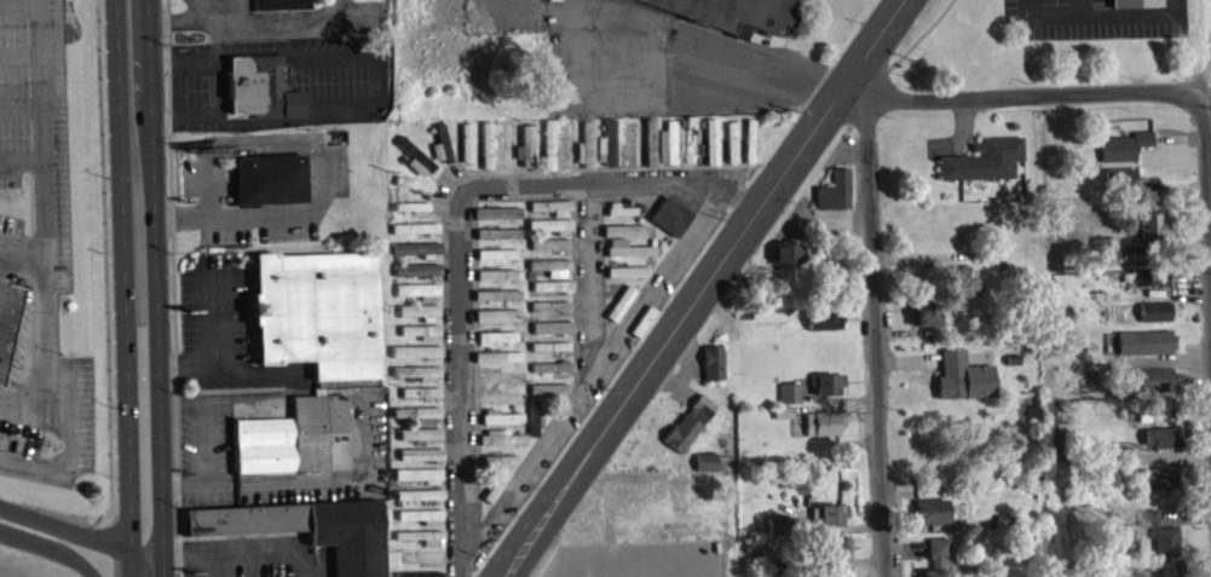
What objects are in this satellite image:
road: (38, 1)
building: (1135, 1)
road: (19, 4)
building: (282, 4)
road: (1082, 6)
building: (734, 11)
road: (1101, 12)
parking lot: (1092, 18)
road: (180, 19)
road: (907, 48)
road: (19, 51)
road: (765, 76)
building: (255, 82)
road: (220, 85)
road: (1011, 94)
road: (21, 109)
road: (959, 134)
road: (1178, 135)
building: (691, 138)
building: (750, 138)
building: (609, 139)
building: (650, 139)
building: (670, 139)
building: (711, 139)
building: (732, 139)
building: (1123, 144)
parking lot: (34, 146)
building: (567, 146)
building: (465, 148)
building: (485, 150)
building: (506, 150)
building: (547, 150)
building: (584, 151)
building: (525, 152)
building: (440, 156)
road: (22, 157)
building: (984, 157)
building: (415, 163)
building: (270, 178)
building: (1124, 178)
road: (1180, 184)
road: (1207, 185)
building: (835, 187)
building: (622, 208)
road: (45, 209)
building: (550, 213)
building: (670, 214)
building: (496, 218)
building: (1152, 225)
building: (624, 227)
building: (548, 231)
road: (460, 232)
building: (497, 238)
road: (1163, 247)
road: (23, 248)
building: (630, 248)
building: (1105, 248)
building: (548, 249)
building: (785, 250)
road: (929, 253)
building: (416, 254)
building: (627, 255)
building: (496, 259)
road: (126, 260)
road: (173, 267)
building: (628, 269)
building: (549, 272)
building: (1154, 273)
building: (416, 276)
road: (1189, 276)
building: (627, 277)
building: (490, 279)
building: (961, 281)
road: (588, 282)
building: (1153, 282)
road: (1175, 287)
road: (155, 288)
road: (700, 288)
building: (552, 292)
building: (421, 295)
building: (485, 300)
building: (621, 300)
building: (1154, 308)
building: (319, 311)
building: (549, 311)
building: (923, 311)
building: (824, 315)
building: (419, 316)
building: (7, 317)
building: (642, 318)
building: (488, 321)
road: (906, 330)
building: (552, 333)
building: (420, 336)
road: (875, 336)
building: (1152, 339)
building: (496, 342)
building: (549, 352)
building: (416, 357)
road: (909, 358)
building: (713, 360)
building: (497, 362)
building: (550, 371)
building: (962, 374)
road: (592, 376)
building: (1151, 376)
building: (417, 377)
building: (826, 380)
building: (500, 383)
building: (790, 391)
building: (548, 394)
parking lot: (45, 398)
building: (420, 398)
road: (837, 399)
road: (823, 404)
building: (783, 409)
building: (417, 419)
building: (824, 420)
building: (688, 421)
building: (500, 423)
building: (1160, 435)
building: (296, 437)
building: (420, 439)
building: (500, 443)
road: (64, 446)
building: (1105, 454)
road: (1175, 456)
building: (705, 458)
building: (420, 460)
building: (492, 466)
building: (1105, 473)
building: (1158, 475)
building: (417, 480)
building: (640, 498)
building: (419, 500)
building: (930, 508)
building: (829, 512)
road: (1184, 513)
road: (48, 521)
building: (421, 521)
building: (779, 524)
road: (918, 525)
road: (836, 526)
building: (310, 527)
building: (1159, 530)
road: (116, 532)
building: (421, 542)
building: (829, 543)
road: (52, 546)
road: (905, 547)
road: (133, 548)
road: (134, 550)
road: (180, 556)
building: (936, 556)
parking lot: (256, 558)
building: (425, 561)
building: (1167, 566)
building: (420, 572)
building: (769, 572)
building: (832, 572)
building: (847, 576)

